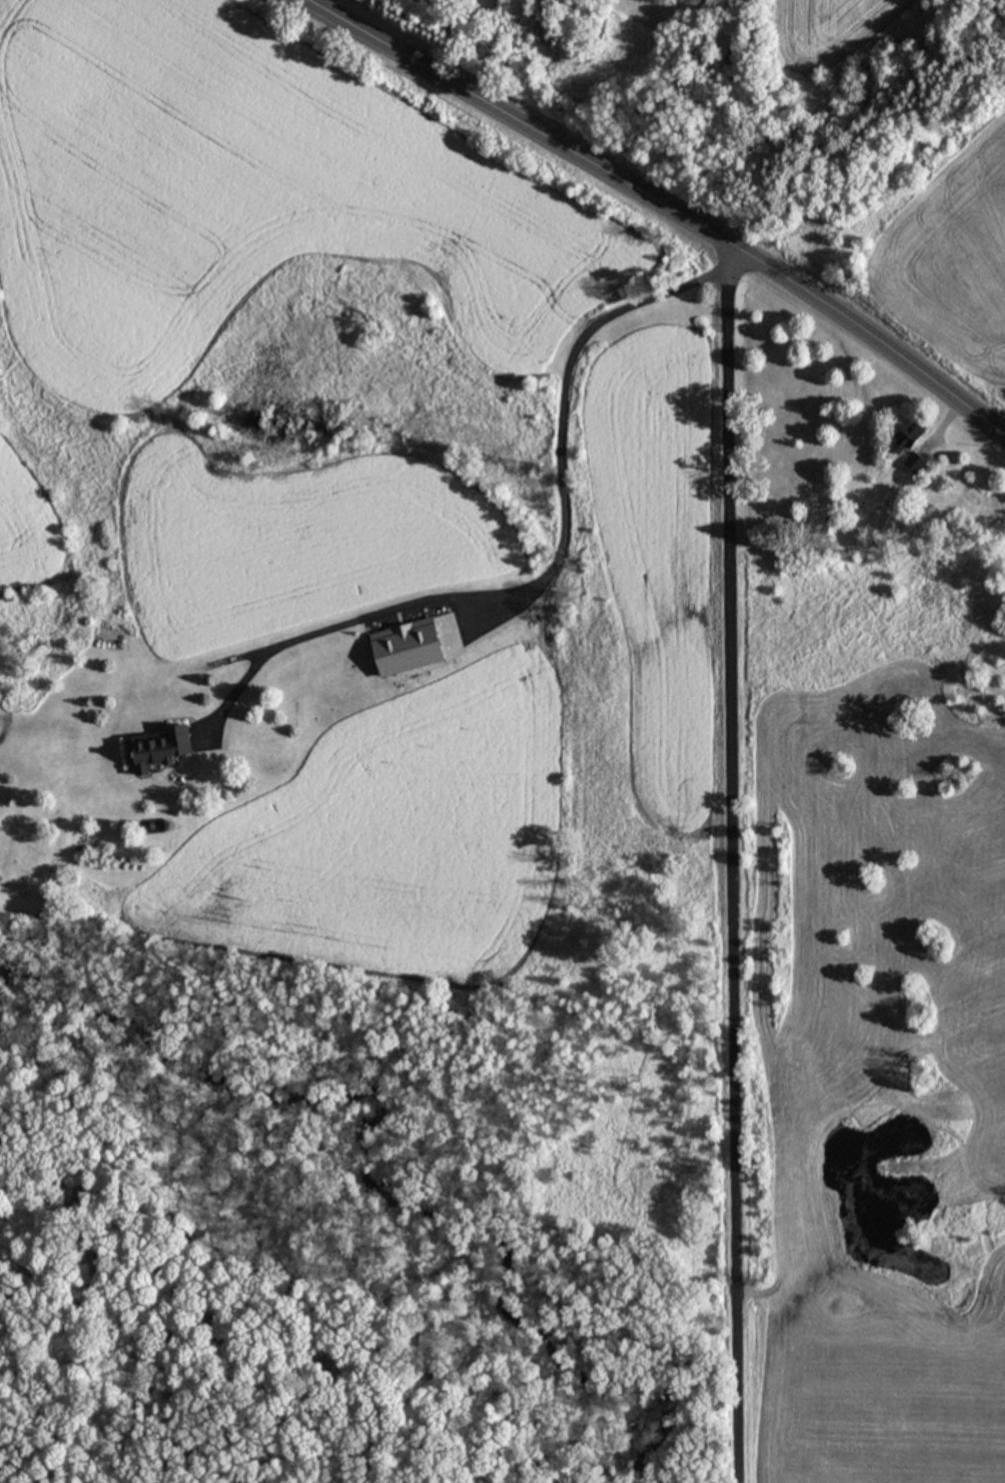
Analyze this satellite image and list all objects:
road: (665, 201)
building: (906, 437)
building: (915, 462)
road: (562, 550)
road: (235, 694)
road: (729, 859)

